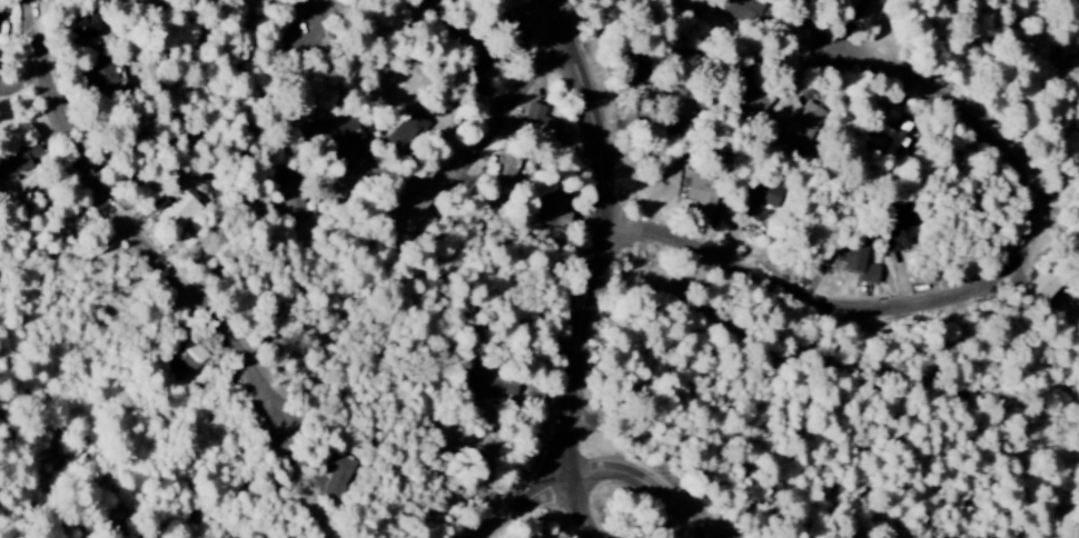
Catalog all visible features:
building: (512, 17)
road: (329, 23)
building: (80, 29)
building: (636, 71)
building: (101, 76)
building: (541, 124)
road: (505, 127)
building: (800, 127)
building: (883, 127)
building: (407, 136)
building: (338, 138)
building: (506, 160)
building: (13, 162)
building: (701, 195)
building: (758, 198)
building: (290, 203)
building: (550, 209)
building: (179, 211)
building: (899, 229)
building: (857, 259)
road: (597, 269)
road: (177, 273)
building: (1041, 287)
road: (970, 293)
building: (489, 387)
park: (1039, 451)
road: (606, 470)
building: (336, 474)

